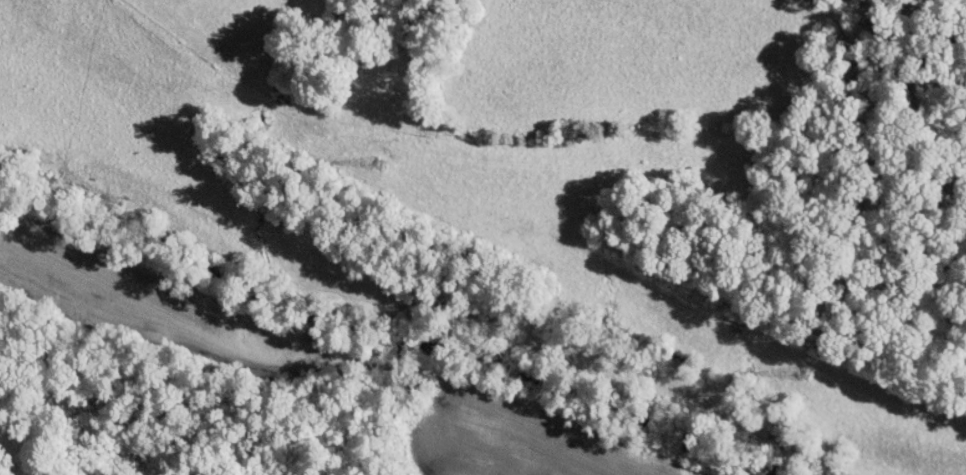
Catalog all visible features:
power tower: (372, 161)
power tower: (820, 373)

